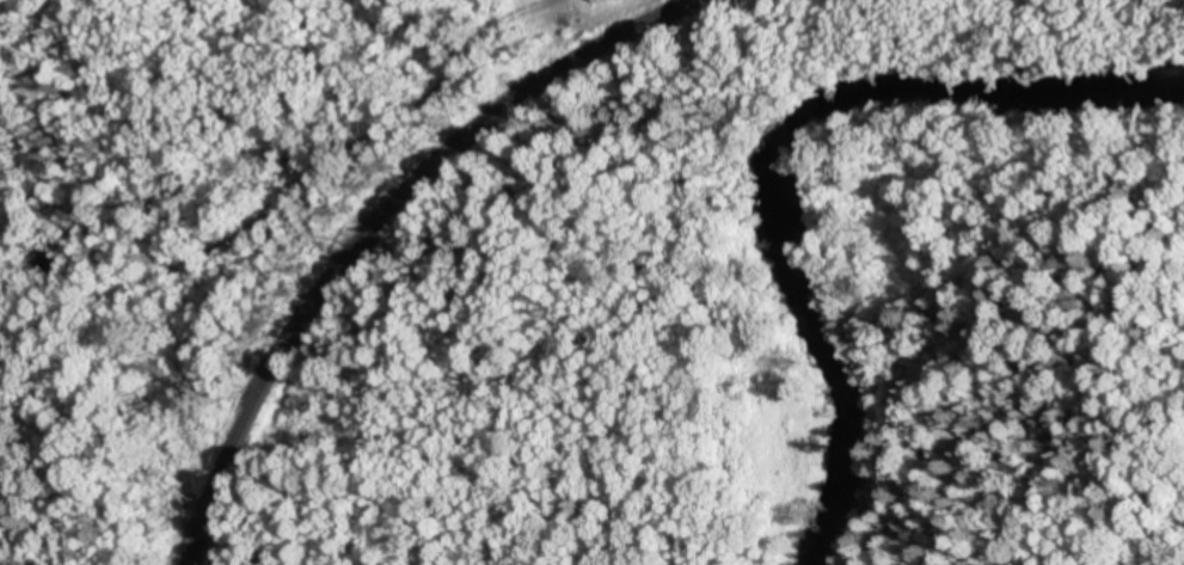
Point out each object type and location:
river: (778, 143)
road: (283, 202)
railway: (386, 215)

